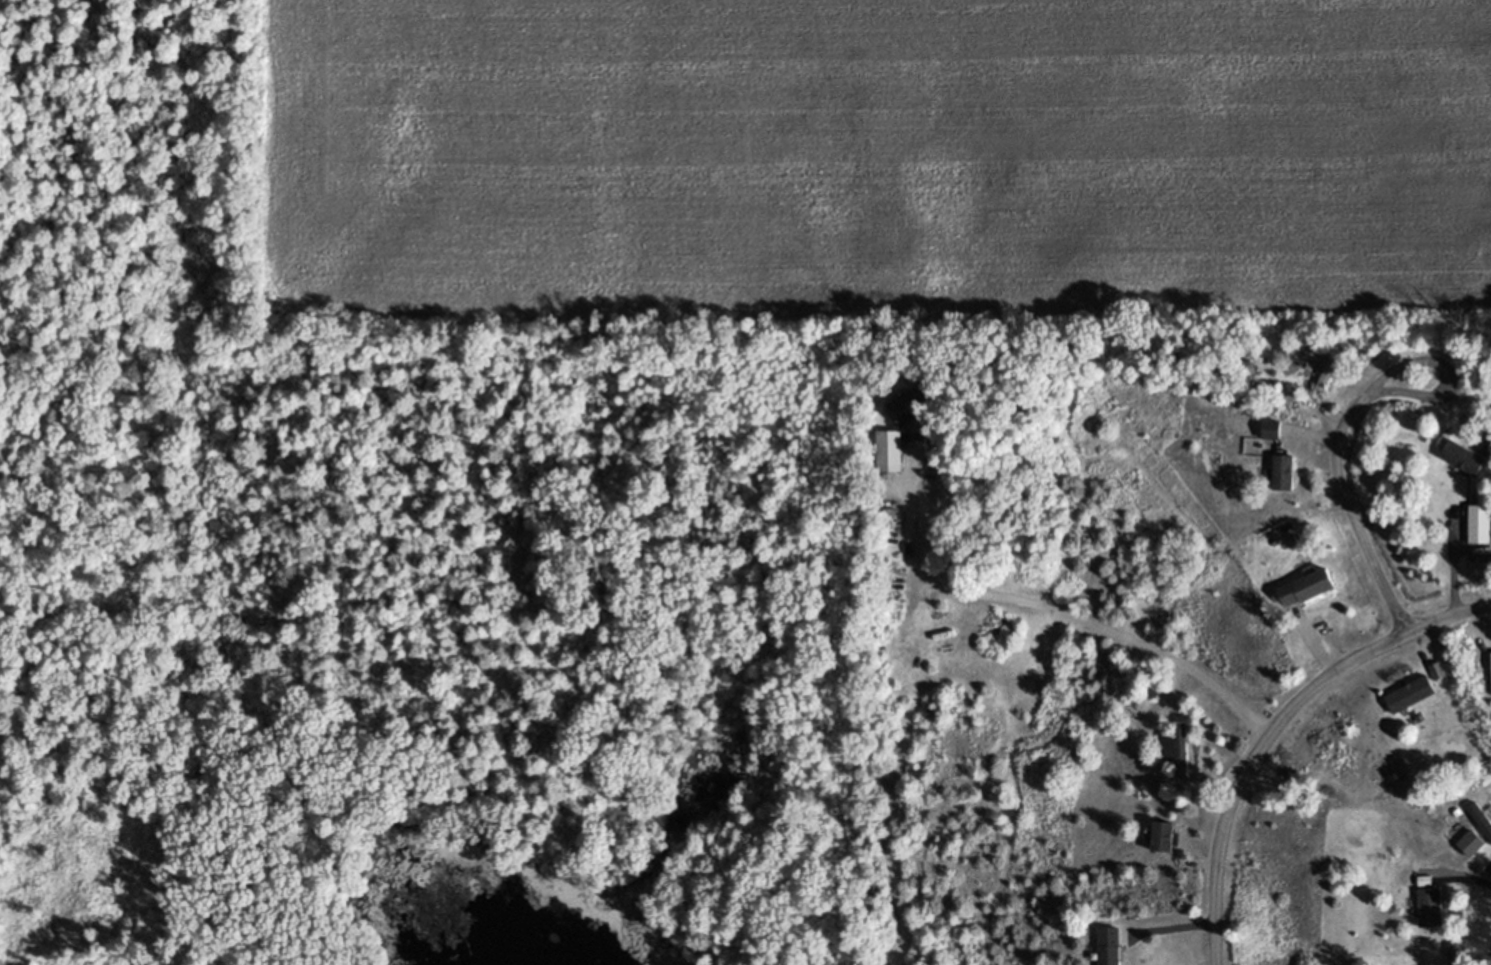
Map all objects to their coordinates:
crop: (878, 156)
building: (1329, 375)
building: (914, 406)
road: (1353, 407)
building: (1272, 432)
building: (894, 453)
building: (1464, 461)
building: (1285, 475)
building: (1480, 527)
building: (1309, 590)
road: (1066, 614)
building: (1415, 698)
road: (1277, 729)
building: (1177, 752)
building: (1166, 839)
building: (1432, 909)
building: (1113, 947)

